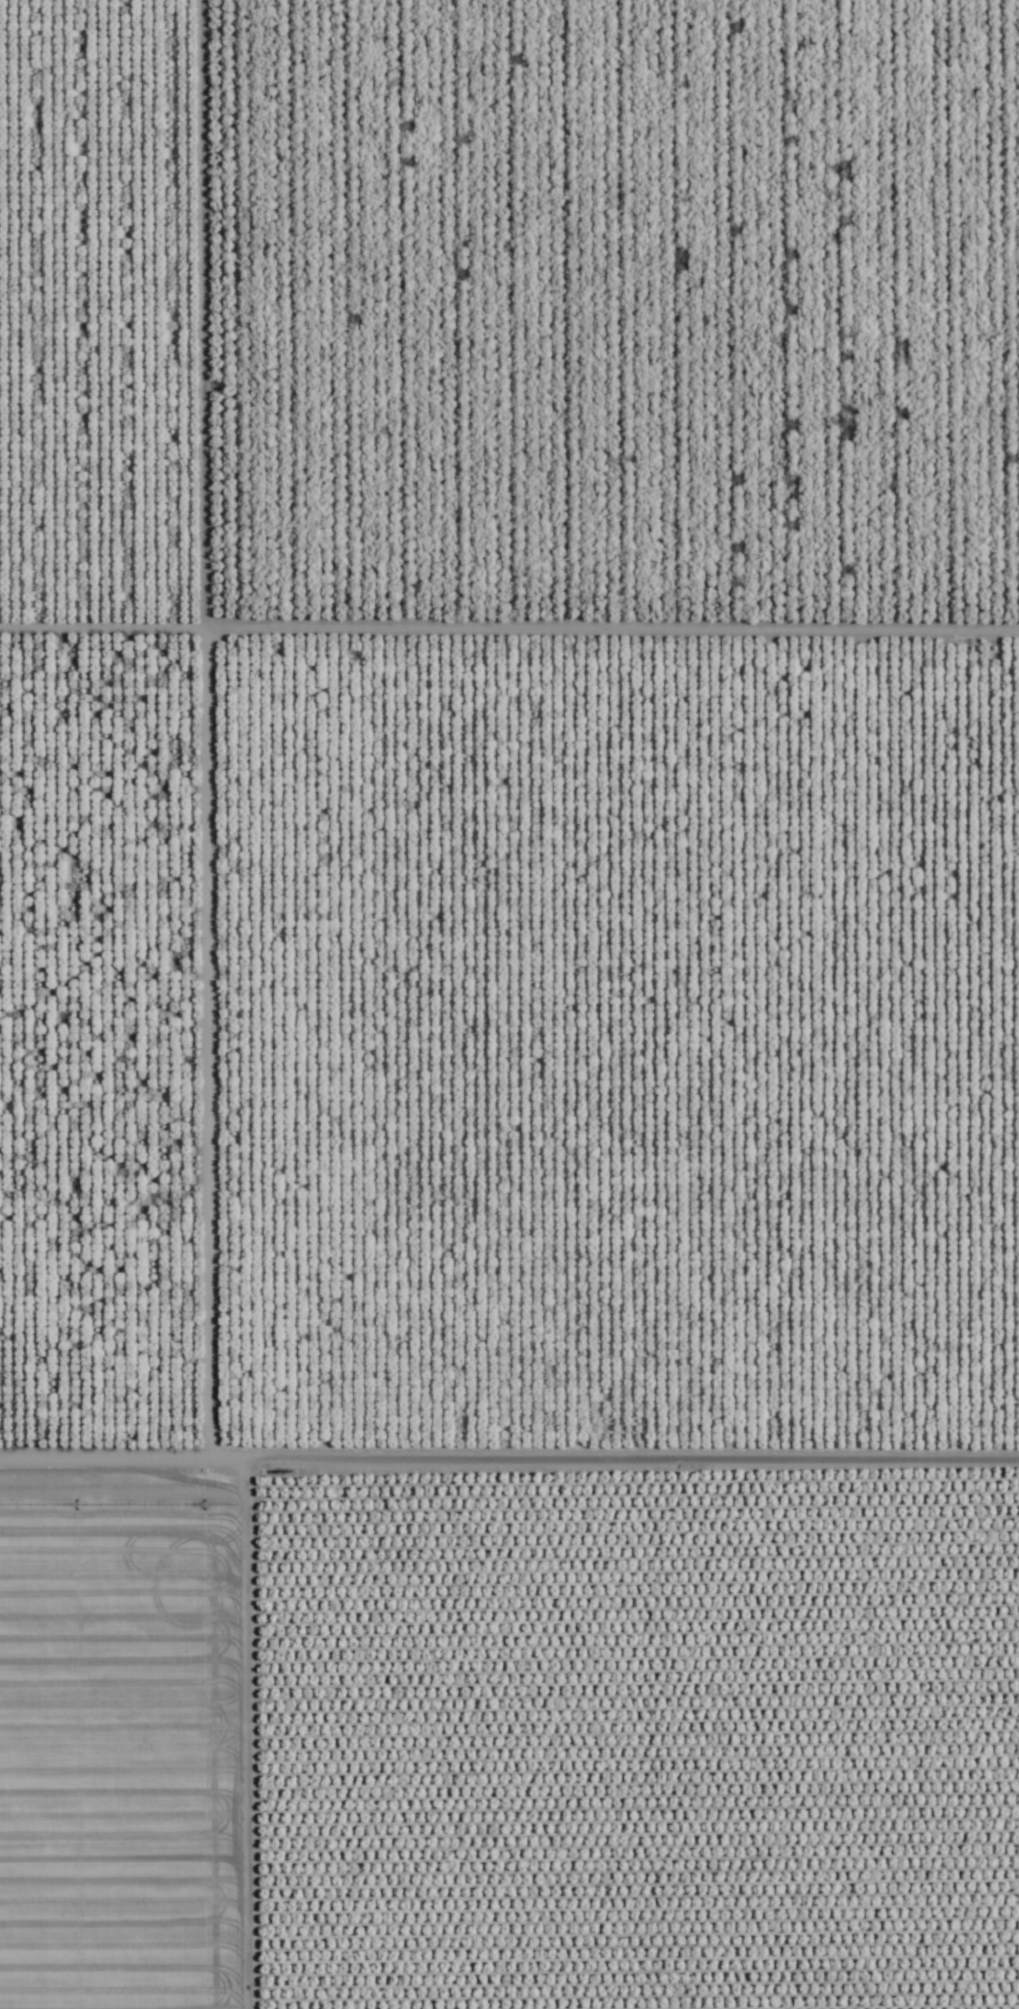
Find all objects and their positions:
crop: (509, 1004)
road: (509, 1439)
road: (209, 1724)

